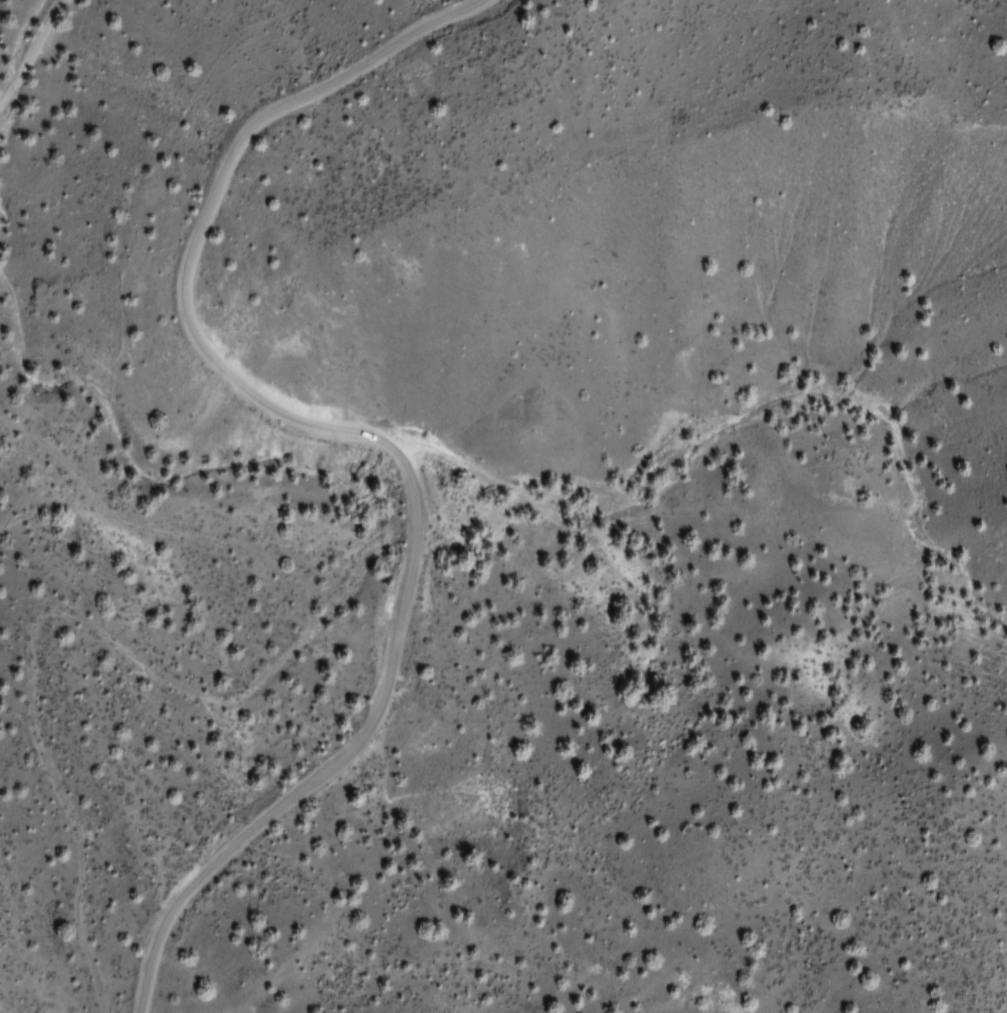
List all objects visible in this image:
road: (33, 49)
road: (372, 438)

